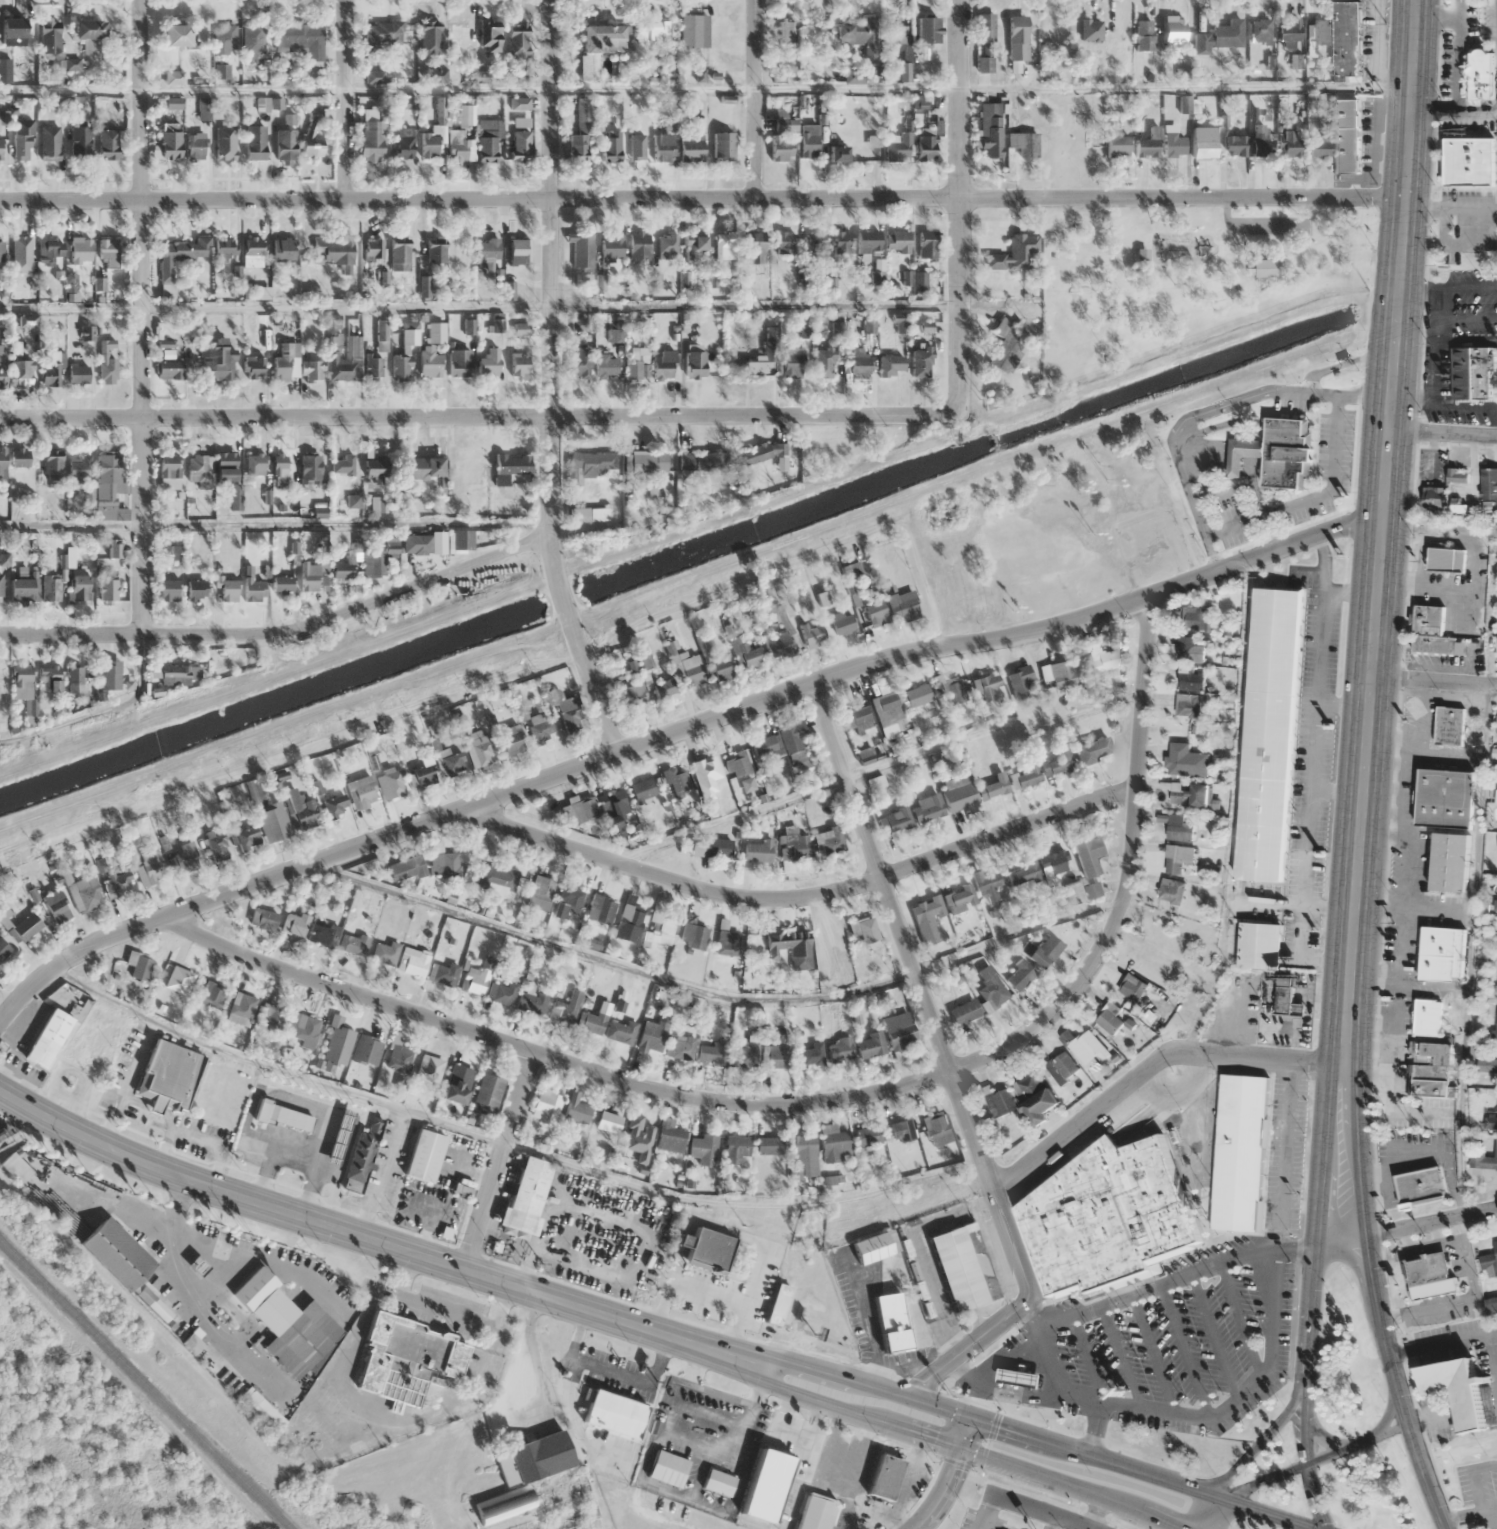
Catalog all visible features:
building: (928, 29)
building: (694, 30)
building: (1174, 30)
building: (1263, 30)
building: (787, 31)
building: (1290, 31)
building: (13, 32)
building: (384, 32)
building: (653, 32)
building: (895, 32)
building: (89, 33)
building: (722, 34)
building: (176, 35)
building: (1145, 35)
building: (1318, 35)
building: (489, 36)
building: (49, 37)
building: (860, 37)
building: (1017, 37)
building: (1220, 37)
building: (225, 38)
building: (430, 38)
building: (305, 39)
building: (460, 39)
building: (518, 39)
building: (1346, 40)
building: (986, 41)
building: (254, 42)
building: (598, 46)
building: (222, 71)
building: (1480, 74)
building: (375, 76)
building: (174, 77)
road: (703, 88)
road: (759, 100)
road: (345, 101)
building: (169, 103)
building: (205, 108)
building: (991, 129)
building: (581, 133)
building: (1346, 133)
building: (313, 135)
building: (489, 139)
building: (809, 140)
building: (23, 141)
building: (51, 141)
building: (80, 141)
building: (256, 141)
building: (373, 141)
building: (781, 141)
building: (226, 142)
building: (1204, 142)
building: (404, 143)
building: (1024, 143)
building: (1081, 143)
building: (109, 144)
building: (170, 144)
building: (521, 144)
building: (1175, 144)
building: (429, 145)
building: (458, 145)
building: (611, 145)
building: (1236, 145)
building: (1291, 145)
building: (1319, 145)
building: (286, 146)
building: (724, 146)
building: (926, 146)
building: (1118, 146)
building: (1261, 146)
building: (196, 147)
building: (663, 147)
building: (692, 147)
building: (1146, 147)
building: (1, 148)
building: (638, 148)
building: (899, 148)
building: (837, 153)
building: (1469, 160)
road: (701, 202)
road: (961, 207)
road: (1268, 220)
building: (868, 241)
building: (897, 241)
building: (784, 242)
building: (843, 242)
building: (667, 243)
building: (695, 244)
building: (815, 244)
building: (927, 244)
building: (639, 246)
building: (724, 246)
building: (225, 247)
building: (611, 247)
building: (374, 248)
building: (756, 248)
building: (19, 249)
building: (50, 249)
building: (81, 250)
building: (285, 250)
building: (253, 251)
building: (338, 251)
building: (519, 251)
building: (582, 251)
building: (2, 252)
building: (108, 252)
building: (436, 253)
building: (488, 253)
building: (1014, 253)
building: (181, 255)
building: (400, 256)
building: (1263, 268)
park: (1183, 274)
road: (480, 307)
road: (139, 315)
building: (436, 332)
road: (1372, 355)
building: (347, 360)
building: (217, 361)
road: (1347, 361)
building: (287, 362)
building: (429, 362)
building: (459, 362)
building: (793, 362)
building: (859, 362)
building: (921, 362)
building: (488, 363)
building: (762, 363)
building: (824, 363)
building: (519, 364)
building: (579, 364)
building: (664, 364)
building: (890, 364)
building: (374, 365)
building: (694, 365)
building: (3, 366)
building: (402, 366)
building: (254, 367)
building: (607, 367)
building: (637, 368)
building: (108, 370)
building: (169, 370)
building: (312, 370)
building: (50, 371)
road: (1317, 371)
building: (1471, 372)
building: (22, 374)
building: (78, 374)
road: (543, 382)
road: (1205, 413)
road: (481, 420)
road: (1259, 425)
road: (1441, 431)
road: (1219, 449)
road: (1243, 450)
road: (1192, 452)
building: (1276, 452)
road: (1218, 455)
building: (19, 457)
road: (1233, 457)
road: (1248, 458)
road: (1216, 460)
building: (647, 462)
building: (703, 462)
road: (1233, 462)
road: (1247, 463)
building: (3, 464)
building: (255, 464)
building: (343, 464)
building: (53, 465)
building: (514, 465)
building: (591, 465)
building: (225, 466)
building: (423, 467)
building: (280, 469)
building: (311, 469)
building: (376, 469)
building: (200, 470)
building: (169, 472)
building: (1458, 474)
building: (81, 477)
building: (470, 477)
building: (108, 482)
building: (1488, 486)
road: (1223, 493)
road: (1313, 496)
building: (236, 497)
building: (1433, 497)
building: (592, 515)
road: (273, 523)
road: (1379, 530)
building: (462, 539)
building: (420, 544)
building: (113, 549)
building: (379, 558)
building: (1441, 558)
building: (342, 570)
building: (309, 576)
building: (283, 584)
building: (253, 586)
building: (0, 587)
building: (51, 588)
building: (79, 588)
building: (109, 589)
building: (22, 590)
building: (170, 590)
building: (196, 590)
building: (227, 590)
road: (1347, 590)
building: (876, 613)
building: (1197, 618)
building: (843, 621)
road: (281, 629)
building: (1429, 631)
building: (814, 635)
building: (778, 643)
building: (1189, 650)
building: (1102, 659)
building: (719, 666)
building: (692, 670)
building: (1059, 672)
building: (111, 674)
building: (177, 674)
building: (51, 679)
road: (1431, 679)
building: (75, 680)
building: (1190, 680)
building: (1021, 681)
building: (1, 683)
building: (22, 683)
building: (987, 684)
building: (666, 688)
building: (949, 688)
building: (633, 695)
building: (918, 695)
building: (1188, 704)
road: (1339, 704)
building: (889, 710)
road: (99, 711)
building: (570, 714)
building: (861, 717)
building: (1449, 725)
building: (540, 729)
building: (1270, 732)
road: (673, 733)
building: (512, 739)
building: (793, 740)
road: (1311, 746)
building: (765, 748)
building: (1094, 748)
building: (480, 751)
building: (1186, 760)
building: (451, 762)
building: (1057, 763)
building: (737, 764)
road: (875, 766)
building: (804, 769)
building: (423, 773)
building: (1029, 774)
building: (707, 776)
building: (390, 783)
building: (678, 784)
building: (994, 786)
building: (645, 790)
building: (362, 791)
building: (1187, 793)
building: (959, 794)
building: (1444, 798)
building: (336, 805)
building: (614, 805)
building: (926, 807)
building: (584, 809)
building: (300, 810)
road: (1233, 811)
building: (268, 814)
building: (895, 819)
building: (1176, 826)
building: (245, 837)
building: (830, 840)
building: (218, 846)
building: (712, 847)
building: (793, 849)
building: (758, 851)
building: (184, 859)
building: (1173, 859)
building: (1450, 862)
building: (448, 864)
building: (1053, 865)
building: (151, 868)
building: (406, 868)
building: (1086, 870)
building: (1023, 874)
road: (1126, 875)
building: (498, 880)
building: (118, 884)
building: (542, 886)
building: (1170, 890)
building: (88, 892)
road: (801, 897)
building: (962, 898)
building: (569, 901)
building: (57, 904)
road: (1289, 904)
building: (601, 909)
building: (927, 918)
building: (266, 919)
building: (630, 921)
building: (295, 924)
building: (1158, 927)
building: (25, 928)
building: (663, 930)
building: (866, 930)
building: (323, 935)
building: (694, 935)
building: (831, 939)
building: (728, 943)
building: (353, 944)
building: (1259, 944)
building: (792, 947)
building: (4, 948)
building: (1044, 950)
building: (385, 953)
building: (1440, 953)
building: (1146, 955)
building: (141, 966)
building: (442, 973)
building: (1020, 975)
building: (179, 980)
building: (474, 980)
building: (1131, 987)
building: (993, 991)
building: (502, 992)
building: (211, 994)
road: (718, 994)
building: (1285, 994)
building: (532, 1002)
building: (566, 1008)
building: (242, 1009)
building: (964, 1012)
building: (1426, 1016)
building: (1109, 1018)
building: (276, 1020)
building: (592, 1022)
building: (1496, 1023)
building: (306, 1030)
building: (899, 1030)
building: (622, 1031)
building: (652, 1035)
building: (48, 1038)
building: (339, 1044)
building: (871, 1045)
building: (1084, 1045)
building: (681, 1048)
building: (841, 1049)
building: (367, 1050)
building: (1432, 1052)
building: (713, 1053)
building: (746, 1055)
building: (811, 1055)
building: (779, 1056)
road: (553, 1057)
building: (400, 1058)
road: (945, 1062)
building: (1488, 1065)
building: (1061, 1066)
building: (430, 1072)
road: (1147, 1072)
building: (168, 1076)
building: (1428, 1082)
building: (457, 1083)
building: (488, 1094)
building: (1034, 1096)
building: (1003, 1101)
building: (547, 1107)
building: (577, 1109)
building: (284, 1117)
building: (609, 1122)
building: (1492, 1123)
building: (937, 1129)
building: (902, 1130)
building: (340, 1136)
building: (643, 1136)
building: (670, 1137)
building: (868, 1137)
road: (508, 1143)
building: (835, 1144)
building: (770, 1145)
building: (704, 1148)
building: (737, 1148)
building: (364, 1153)
building: (1242, 1153)
road: (1281, 1154)
building: (425, 1155)
building: (807, 1155)
road: (498, 1159)
building: (1484, 1159)
building: (1419, 1186)
building: (527, 1194)
building: (1105, 1214)
road: (1404, 1224)
road: (364, 1236)
building: (872, 1247)
road: (1292, 1248)
building: (709, 1250)
building: (117, 1253)
building: (1490, 1263)
building: (964, 1266)
building: (1428, 1275)
road: (1156, 1287)
building: (143, 1293)
road: (1310, 1294)
road: (1377, 1298)
building: (778, 1303)
road: (1271, 1313)
road: (1240, 1320)
building: (892, 1321)
building: (287, 1323)
road: (1214, 1338)
building: (192, 1343)
road: (1442, 1343)
road: (1184, 1350)
road: (1152, 1354)
road: (1492, 1354)
road: (1121, 1357)
building: (408, 1358)
road: (1087, 1359)
building: (1020, 1376)
gas station: (1020, 1376)
railway: (145, 1385)
road: (1249, 1389)
building: (1455, 1390)
road: (1058, 1391)
road: (1295, 1394)
building: (261, 1409)
road: (1153, 1409)
road: (1222, 1410)
building: (616, 1414)
traffic signals: (972, 1414)
road: (1388, 1414)
road: (1029, 1433)
road: (1321, 1436)
road: (954, 1445)
traffic signals: (961, 1447)
building: (541, 1456)
road: (1312, 1460)
building: (668, 1468)
road: (951, 1474)
building: (884, 1476)
park: (1469, 1478)
building: (719, 1482)
building: (766, 1485)
road: (1476, 1487)
parking lot: (1479, 1490)
building: (505, 1506)
road: (1042, 1511)
building: (817, 1512)
road: (986, 1512)
road: (1096, 1512)
road: (1210, 1512)
road: (1462, 1516)
road: (1050, 1522)

